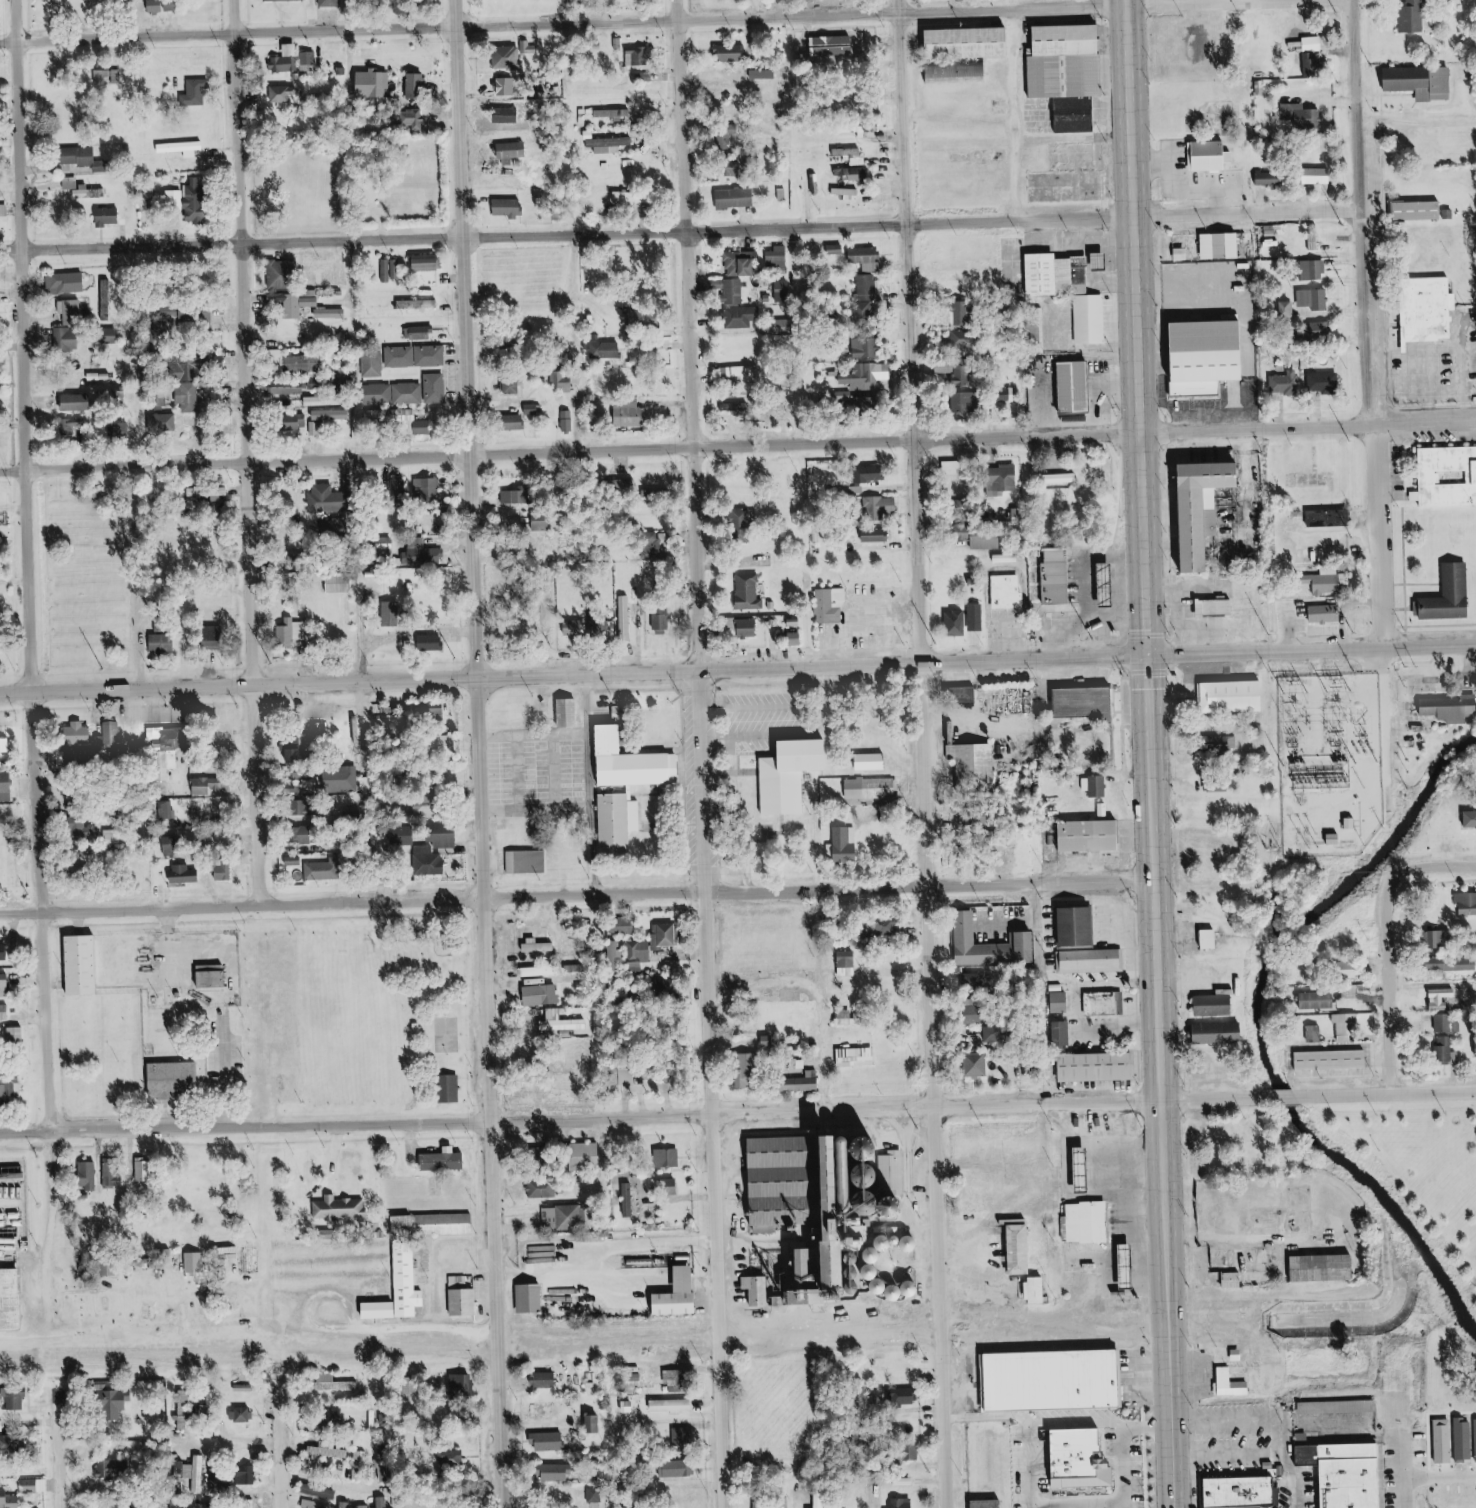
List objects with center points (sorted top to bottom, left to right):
building: (280, 0)
building: (330, 3)
road: (791, 8)
building: (1415, 16)
road: (641, 20)
building: (971, 43)
building: (1314, 44)
building: (732, 53)
building: (511, 57)
building: (640, 58)
building: (308, 63)
building: (285, 64)
building: (1314, 64)
building: (1071, 73)
building: (960, 74)
building: (103, 75)
building: (764, 75)
building: (1421, 82)
building: (374, 83)
building: (417, 87)
building: (507, 87)
building: (196, 93)
building: (285, 95)
building: (615, 114)
building: (506, 116)
building: (1301, 116)
building: (414, 122)
building: (505, 138)
building: (725, 140)
building: (609, 145)
building: (183, 148)
building: (512, 150)
building: (848, 152)
building: (81, 156)
building: (1209, 156)
building: (854, 173)
building: (1320, 176)
building: (1268, 178)
building: (71, 183)
building: (86, 194)
building: (847, 194)
building: (736, 198)
building: (176, 200)
building: (198, 205)
building: (508, 208)
building: (1412, 211)
building: (109, 217)
road: (686, 231)
building: (1221, 246)
building: (836, 250)
building: (865, 255)
building: (777, 257)
building: (428, 263)
building: (741, 264)
building: (868, 267)
building: (389, 270)
building: (1314, 270)
building: (283, 275)
building: (66, 283)
building: (868, 286)
building: (782, 288)
building: (732, 290)
building: (111, 296)
building: (310, 299)
building: (1315, 300)
building: (289, 304)
building: (418, 305)
building: (1428, 311)
building: (71, 313)
building: (331, 313)
building: (862, 313)
building: (740, 318)
building: (642, 319)
building: (1084, 319)
building: (183, 322)
road: (1376, 324)
building: (1317, 332)
building: (420, 333)
building: (111, 336)
building: (962, 338)
building: (68, 340)
building: (865, 349)
building: (416, 356)
building: (280, 363)
building: (305, 363)
building: (373, 364)
building: (946, 368)
building: (190, 369)
building: (740, 374)
building: (867, 377)
building: (567, 380)
building: (1324, 382)
building: (1287, 383)
building: (513, 386)
building: (1070, 387)
building: (288, 388)
building: (410, 392)
building: (965, 393)
building: (191, 398)
building: (322, 402)
building: (863, 402)
building: (75, 403)
building: (735, 408)
building: (531, 409)
building: (772, 416)
building: (394, 418)
building: (295, 421)
building: (569, 421)
building: (519, 423)
building: (178, 425)
building: (71, 427)
road: (737, 446)
road: (240, 452)
building: (954, 468)
building: (874, 473)
building: (1447, 475)
building: (1008, 478)
building: (1061, 479)
building: (400, 486)
building: (624, 487)
building: (427, 489)
building: (846, 492)
building: (513, 498)
building: (329, 499)
building: (882, 507)
building: (1210, 507)
building: (740, 517)
building: (1330, 518)
building: (541, 523)
building: (0, 526)
building: (877, 537)
building: (986, 541)
building: (385, 545)
building: (658, 554)
building: (424, 555)
road: (20, 566)
building: (1049, 577)
building: (1109, 581)
building: (340, 583)
building: (661, 583)
building: (1327, 584)
building: (1098, 586)
building: (749, 591)
building: (1002, 592)
building: (1456, 596)
building: (832, 605)
building: (1224, 606)
building: (1326, 612)
building: (977, 616)
building: (662, 617)
building: (627, 618)
building: (1291, 620)
building: (957, 622)
building: (577, 627)
building: (604, 627)
building: (750, 627)
building: (288, 632)
building: (215, 635)
building: (163, 642)
building: (432, 642)
traffic signals: (1146, 657)
road: (738, 671)
building: (1226, 697)
building: (1087, 702)
road: (812, 706)
road: (752, 708)
building: (1451, 708)
building: (569, 712)
road: (1409, 712)
building: (434, 713)
building: (156, 732)
building: (80, 733)
road: (743, 734)
building: (4, 737)
building: (1223, 744)
building: (302, 746)
road: (1395, 751)
road: (472, 753)
road: (922, 753)
road: (1148, 753)
road: (692, 754)
road: (729, 754)
building: (78, 756)
building: (165, 760)
building: (873, 761)
building: (976, 764)
power substation: (1318, 766)
road: (724, 773)
building: (784, 774)
building: (342, 778)
building: (1216, 781)
building: (208, 785)
building: (6, 786)
building: (1099, 786)
building: (627, 787)
building: (864, 789)
building: (166, 810)
building: (969, 819)
building: (1470, 819)
building: (84, 827)
road: (735, 833)
road: (761, 834)
building: (444, 835)
building: (122, 836)
building: (404, 836)
building: (1084, 837)
building: (173, 846)
building: (837, 849)
building: (294, 860)
building: (431, 860)
building: (527, 862)
building: (225, 870)
building: (324, 870)
road: (1437, 870)
building: (185, 873)
road: (575, 897)
building: (1466, 902)
building: (622, 926)
building: (1070, 927)
building: (883, 928)
building: (666, 935)
building: (1438, 938)
building: (1205, 939)
building: (541, 946)
building: (580, 946)
building: (993, 946)
building: (4, 952)
building: (616, 952)
building: (640, 954)
building: (1086, 961)
building: (848, 963)
building: (74, 965)
building: (538, 971)
building: (1310, 971)
building: (204, 976)
building: (4, 985)
road: (1398, 987)
building: (543, 994)
building: (1318, 999)
road: (843, 1000)
building: (1061, 1001)
building: (1103, 1003)
building: (1216, 1005)
building: (4, 1012)
park: (386, 1013)
building: (976, 1015)
building: (563, 1023)
building: (1346, 1027)
building: (410, 1028)
building: (1065, 1032)
building: (1219, 1033)
building: (1314, 1033)
building: (996, 1034)
building: (17, 1035)
park: (437, 1036)
building: (769, 1041)
building: (1475, 1047)
building: (1444, 1049)
building: (857, 1057)
building: (1332, 1059)
building: (979, 1064)
building: (1090, 1067)
road: (217, 1070)
building: (748, 1070)
building: (628, 1076)
building: (678, 1078)
building: (165, 1081)
building: (452, 1088)
road: (1386, 1093)
road: (1282, 1096)
road: (633, 1118)
building: (589, 1150)
building: (670, 1157)
building: (444, 1161)
building: (144, 1169)
building: (1073, 1171)
building: (1084, 1172)
building: (114, 1173)
building: (89, 1175)
building: (671, 1186)
building: (542, 1187)
building: (827, 1197)
building: (628, 1199)
building: (340, 1208)
building: (561, 1217)
building: (1089, 1222)
building: (436, 1224)
road: (41, 1229)
building: (1022, 1249)
building: (881, 1258)
building: (196, 1262)
building: (1326, 1267)
building: (1118, 1268)
building: (1235, 1280)
building: (402, 1288)
building: (756, 1289)
building: (891, 1289)
building: (1039, 1290)
building: (682, 1294)
building: (532, 1298)
building: (11, 1299)
building: (465, 1301)
road: (301, 1302)
road: (418, 1329)
railway: (757, 1340)
building: (545, 1380)
building: (1043, 1381)
building: (335, 1383)
building: (1233, 1383)
building: (464, 1384)
building: (903, 1397)
building: (15, 1398)
building: (672, 1405)
building: (1338, 1407)
building: (547, 1410)
building: (244, 1414)
building: (596, 1424)
road: (1052, 1424)
building: (2, 1425)
building: (683, 1438)
road: (1279, 1439)
building: (550, 1441)
building: (1444, 1441)
building: (13, 1443)
road: (223, 1445)
road: (272, 1447)
road: (50, 1452)
building: (330, 1452)
building: (913, 1452)
building: (452, 1457)
building: (361, 1460)
building: (384, 1462)
building: (1068, 1462)
building: (680, 1468)
road: (1399, 1468)
building: (115, 1471)
building: (189, 1472)
building: (559, 1472)
building: (1336, 1472)
building: (199, 1473)
building: (246, 1475)
road: (1290, 1480)
building: (30, 1485)
building: (220, 1488)
building: (1233, 1491)
building: (595, 1494)
building: (9, 1500)
building: (821, 1500)
building: (383, 1502)
building: (903, 1503)
road: (1114, 1503)
building: (312, 1504)
building: (347, 1504)
building: (761, 1504)
building: (990, 1504)
building: (787, 1505)
building: (364, 1506)
building: (635, 1507)

